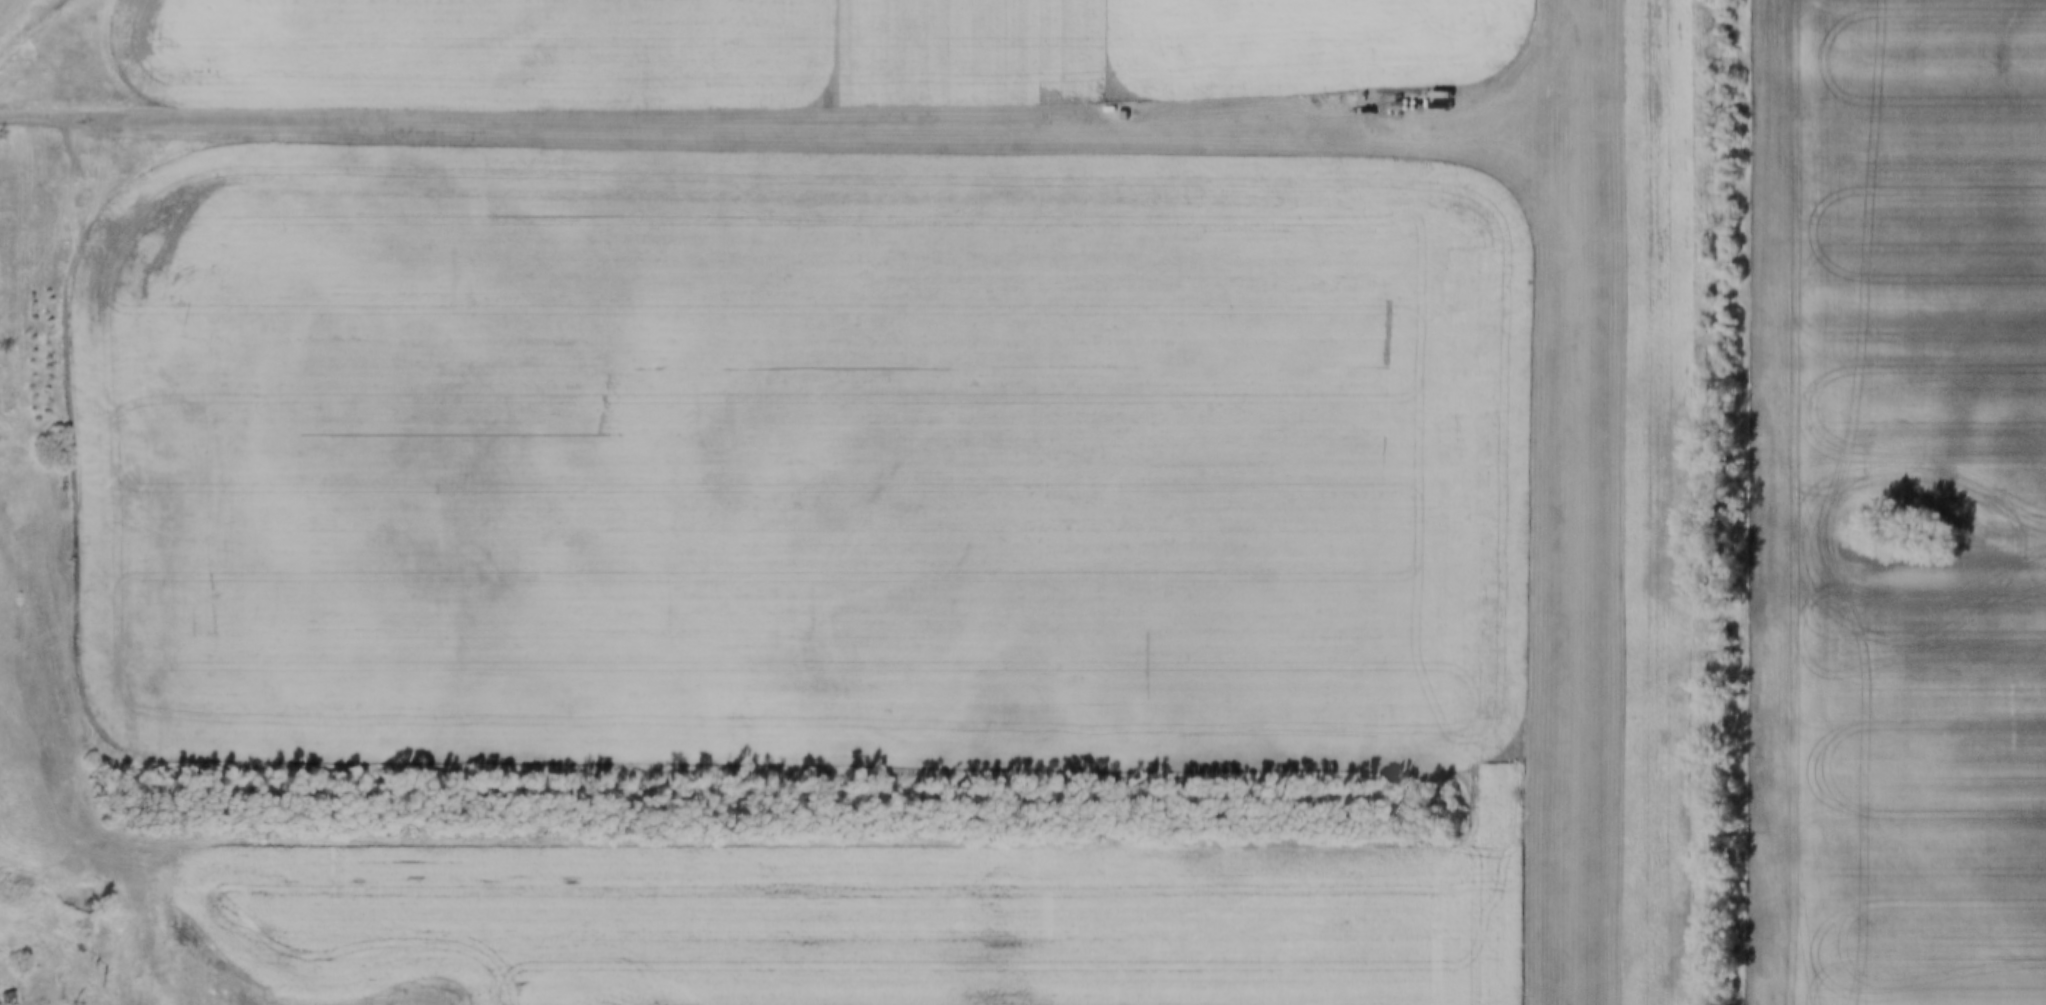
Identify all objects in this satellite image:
building: (1442, 102)
road: (35, 118)
road: (825, 125)
airport runway: (1576, 502)
airport: (1578, 502)

